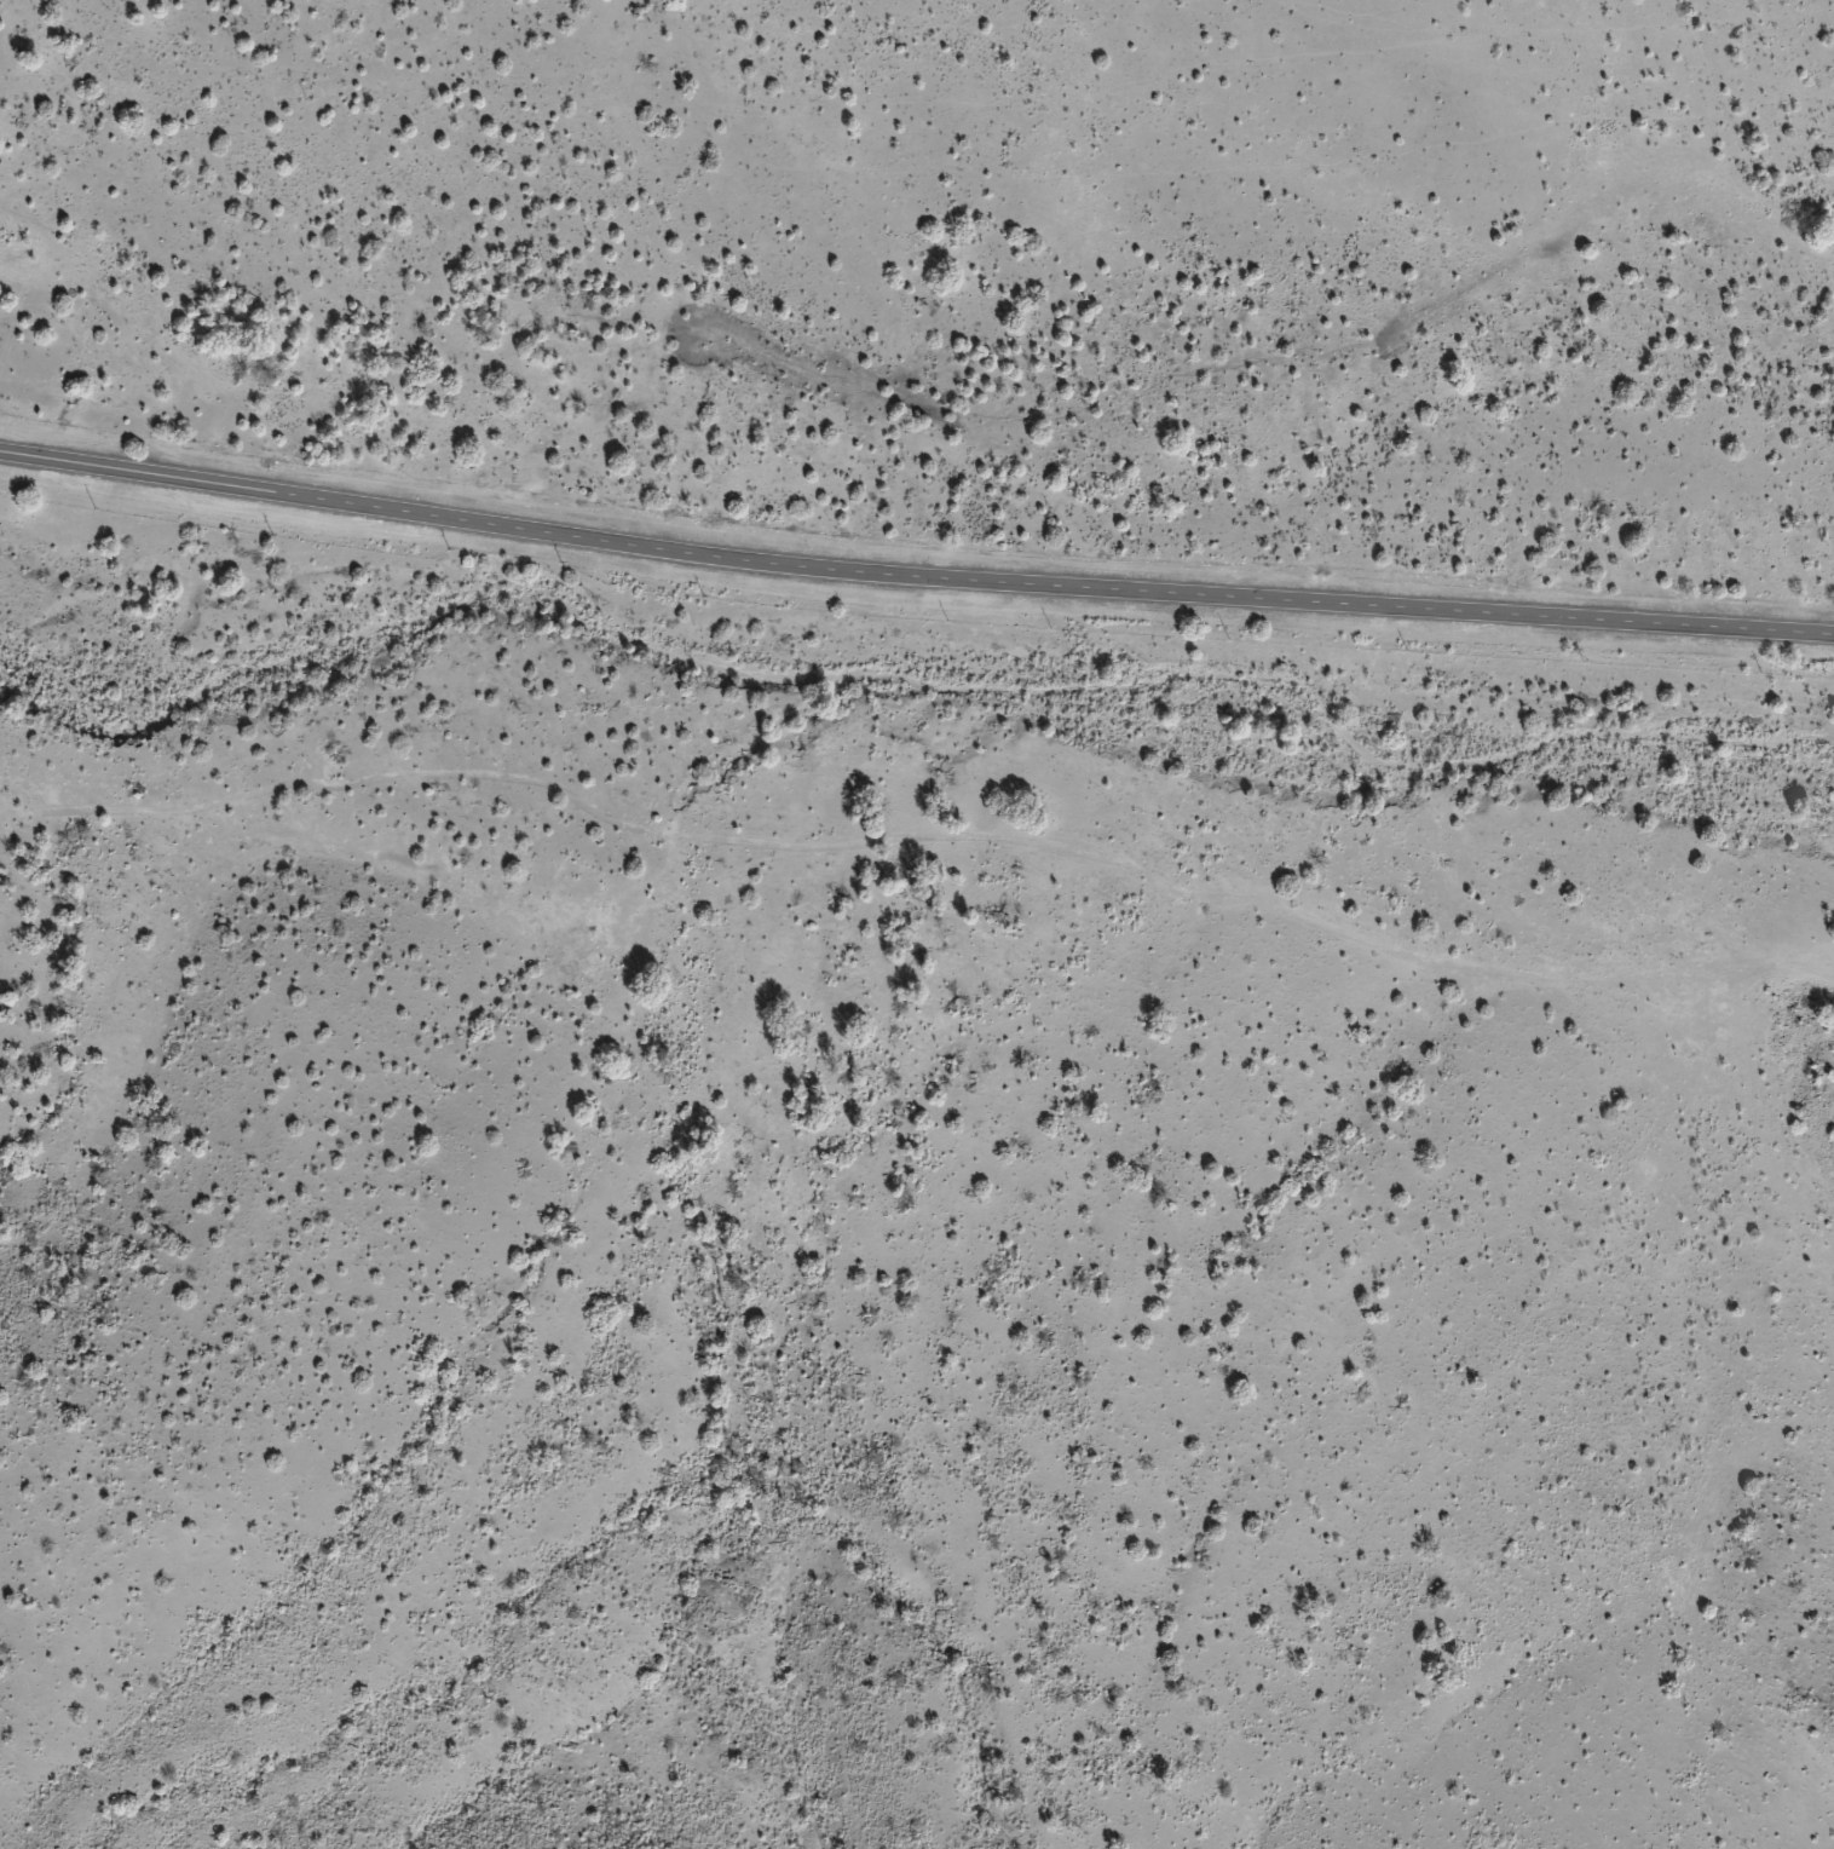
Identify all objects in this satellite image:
road: (912, 578)

